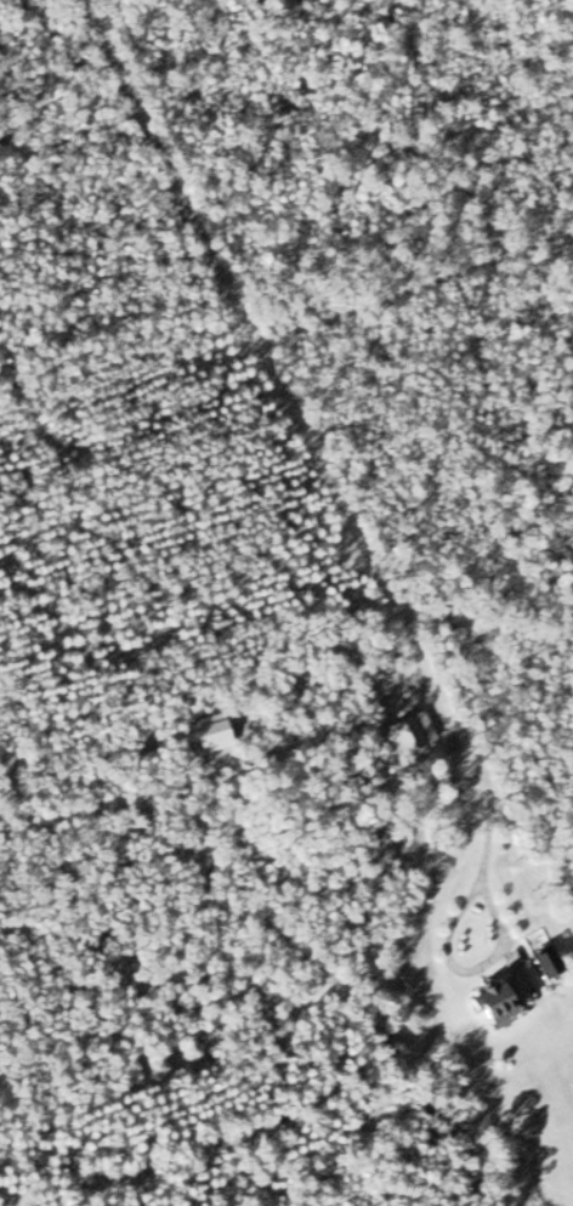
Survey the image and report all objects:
building: (407, 731)
building: (543, 964)
building: (489, 1000)

